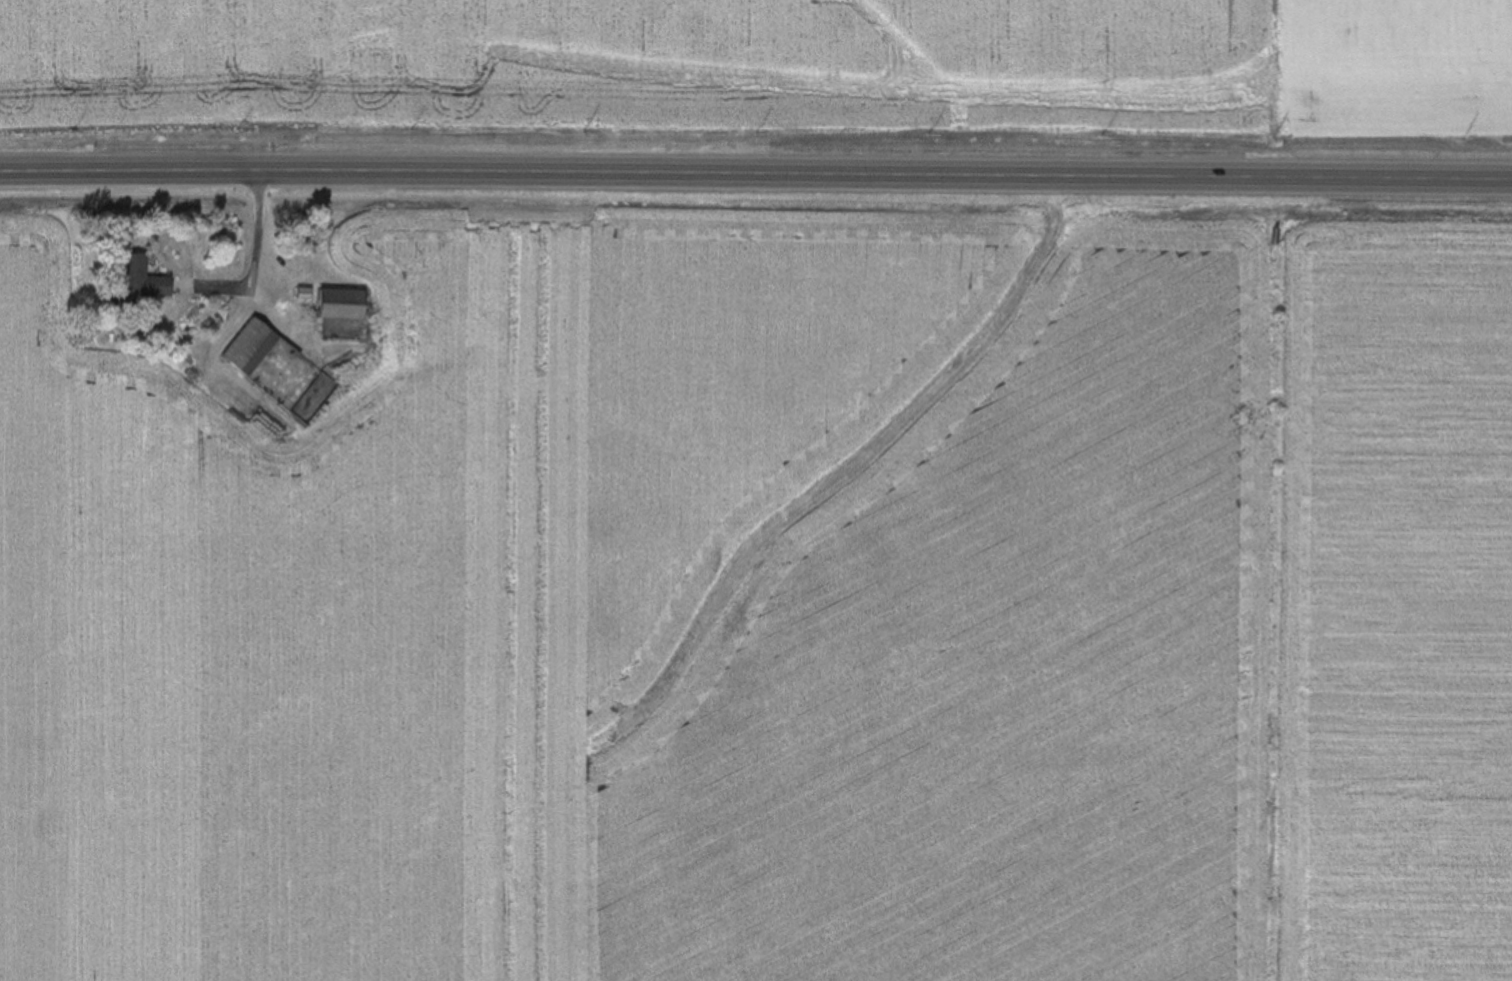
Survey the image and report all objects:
road: (755, 173)
building: (144, 281)
building: (345, 305)
building: (253, 348)

